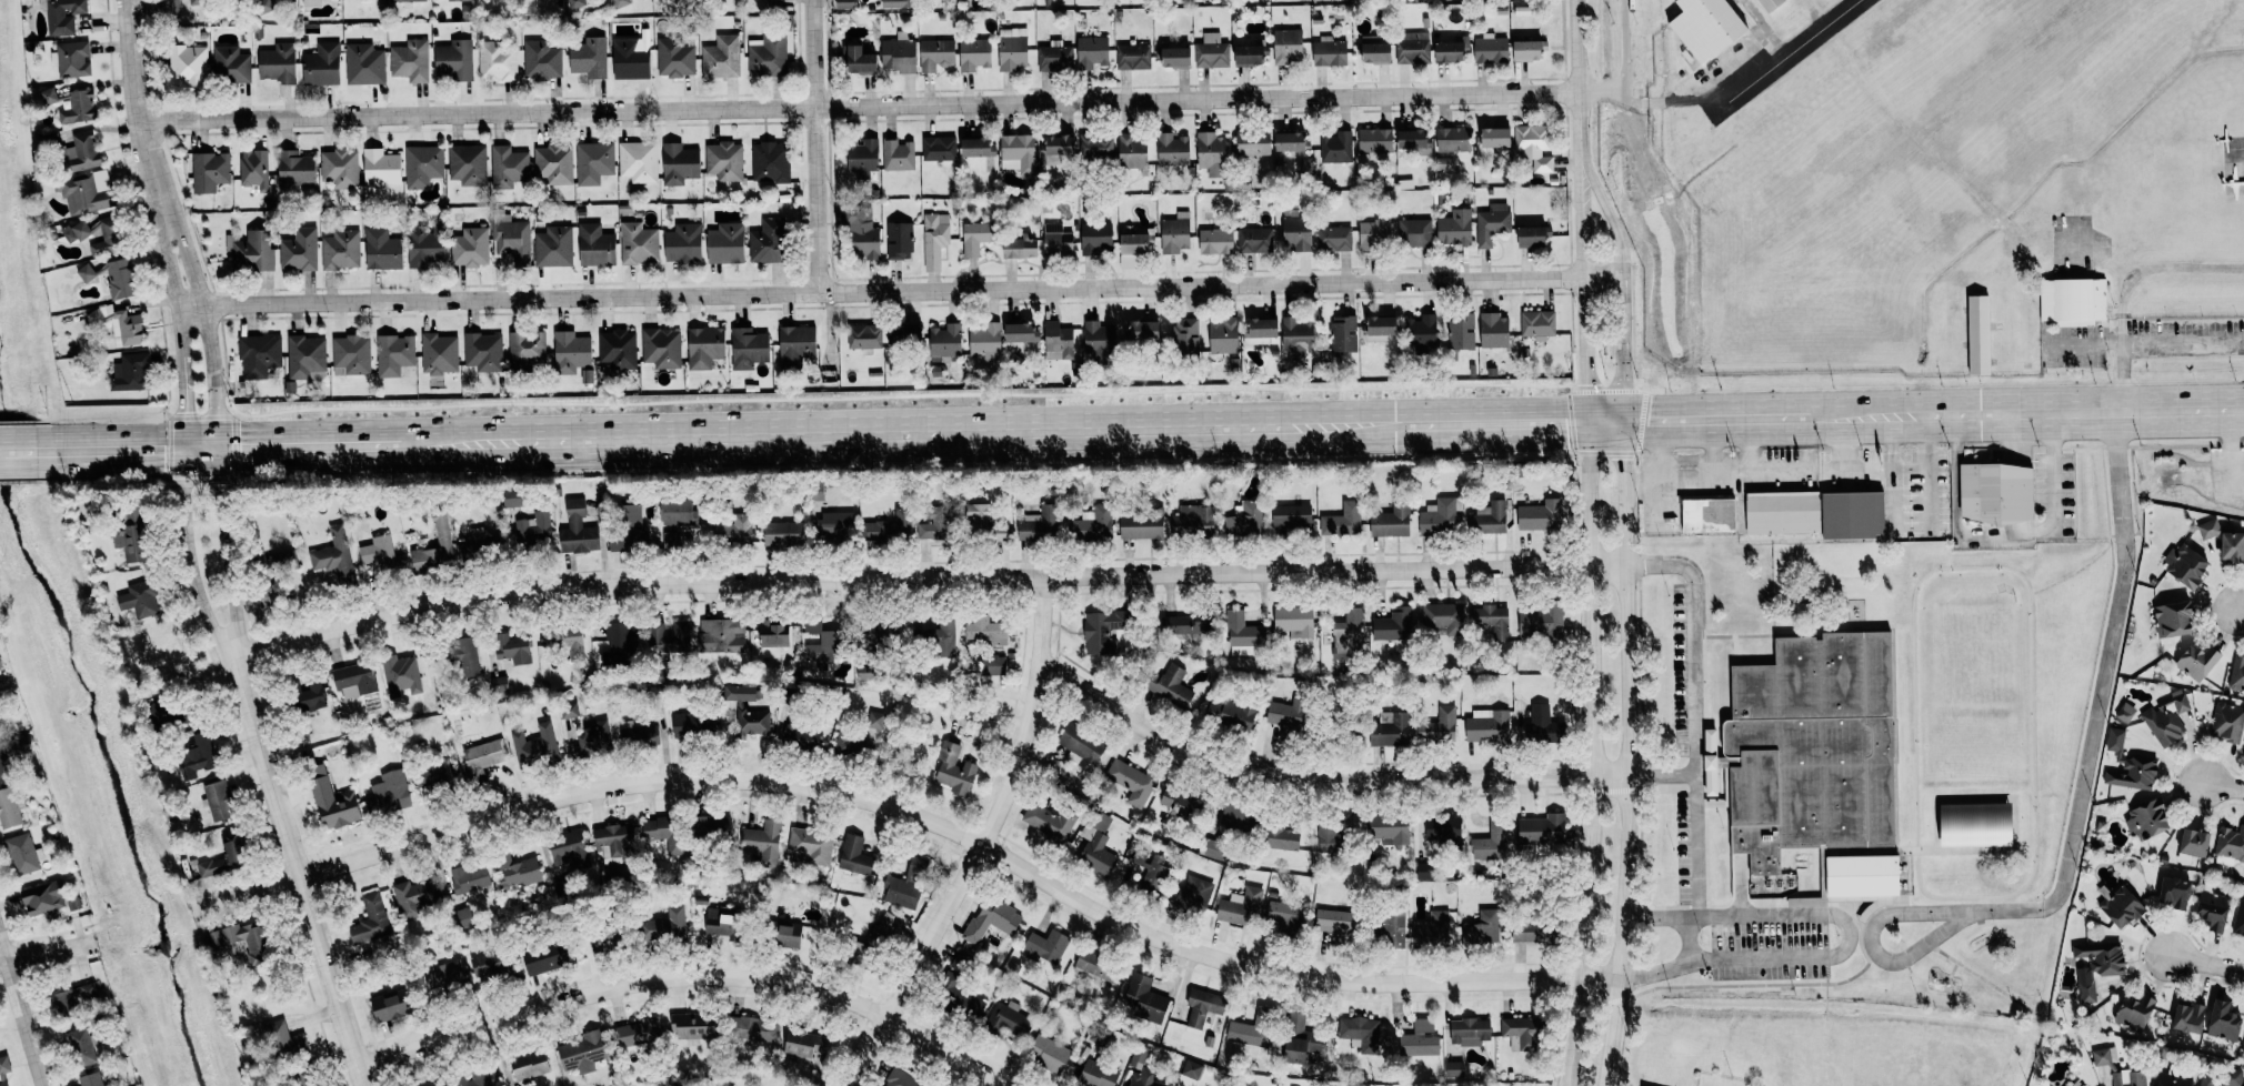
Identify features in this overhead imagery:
building: (287, 0)
building: (404, 0)
building: (458, 0)
building: (194, 1)
building: (309, 2)
building: (574, 3)
building: (619, 3)
building: (894, 3)
building: (842, 4)
building: (1773, 4)
building: (264, 6)
building: (170, 8)
building: (62, 16)
building: (1706, 28)
building: (1285, 47)
building: (1411, 48)
building: (1012, 49)
building: (1450, 49)
building: (1489, 49)
building: (1373, 50)
building: (1527, 50)
building: (1210, 51)
building: (1091, 52)
building: (1328, 52)
building: (973, 53)
building: (934, 54)
building: (1248, 54)
building: (896, 56)
building: (1054, 56)
building: (720, 57)
building: (1132, 57)
building: (1173, 57)
airport taxiway: (1781, 57)
building: (588, 58)
building: (674, 58)
building: (70, 59)
building: (629, 59)
building: (410, 60)
building: (453, 60)
building: (541, 60)
building: (858, 60)
building: (495, 61)
building: (277, 63)
building: (321, 64)
building: (363, 64)
building: (187, 66)
building: (230, 66)
road: (1625, 72)
road: (1574, 77)
road: (133, 99)
building: (77, 107)
road: (855, 107)
building: (1410, 139)
building: (1451, 139)
building: (1373, 141)
building: (1491, 141)
building: (1288, 142)
building: (1251, 143)
building: (1095, 145)
road: (814, 147)
building: (973, 147)
building: (1533, 147)
building: (1335, 148)
building: (938, 149)
building: (1058, 149)
building: (1171, 149)
building: (1131, 151)
building: (80, 152)
building: (1016, 153)
building: (1210, 153)
building: (896, 155)
building: (861, 158)
building: (723, 160)
building: (638, 161)
building: (769, 161)
building: (593, 162)
building: (552, 163)
building: (678, 163)
building: (467, 164)
airport apron: (2233, 164)
building: (422, 165)
building: (507, 167)
building: (252, 168)
building: (339, 168)
building: (293, 169)
building: (379, 169)
building: (209, 171)
airport: (1942, 185)
building: (84, 192)
road: (1580, 217)
building: (1491, 223)
building: (1454, 228)
building: (73, 230)
building: (1296, 230)
building: (858, 232)
building: (1413, 232)
building: (1174, 233)
building: (1373, 233)
building: (106, 237)
building: (1095, 237)
building: (1532, 237)
building: (976, 238)
building: (933, 239)
building: (1055, 239)
building: (1333, 239)
building: (510, 240)
building: (898, 240)
building: (1253, 240)
building: (767, 241)
building: (1214, 241)
building: (1135, 242)
building: (638, 243)
building: (682, 243)
building: (725, 244)
building: (594, 245)
building: (553, 247)
building: (1019, 247)
building: (423, 248)
building: (469, 248)
building: (380, 249)
building: (299, 250)
building: (340, 250)
building: (252, 252)
building: (111, 276)
road: (1601, 278)
road: (1621, 283)
road: (2127, 288)
road: (879, 292)
building: (2073, 300)
building: (119, 324)
building: (1537, 324)
building: (1379, 329)
building: (1493, 331)
building: (1019, 332)
building: (1141, 332)
building: (1258, 332)
building: (1419, 332)
building: (1461, 333)
building: (1342, 334)
building: (902, 335)
building: (1222, 335)
building: (862, 336)
building: (1295, 336)
building: (1981, 336)
building: (1184, 338)
building: (1098, 339)
building: (944, 340)
building: (983, 340)
building: (1056, 341)
parking lot: (2143, 341)
road: (2146, 341)
building: (795, 345)
building: (703, 346)
building: (661, 348)
building: (747, 348)
building: (617, 349)
building: (527, 350)
road: (1584, 350)
building: (569, 351)
building: (483, 352)
building: (350, 354)
building: (393, 354)
building: (438, 354)
building: (259, 355)
building: (304, 356)
building: (130, 373)
road: (2026, 414)
road: (1715, 420)
road: (218, 421)
road: (1604, 422)
traffic signals: (1622, 422)
traffic signals: (1586, 423)
road: (1496, 424)
road: (181, 430)
road: (903, 435)
road: (1837, 445)
road: (310, 446)
road: (2147, 446)
road: (1714, 448)
road: (1749, 448)
road: (202, 449)
road: (1660, 449)
road: (117, 450)
road: (2, 451)
road: (28, 451)
road: (1757, 475)
road: (1892, 475)
building: (814, 491)
road: (2133, 491)
road: (2104, 492)
building: (1995, 493)
building: (510, 501)
building: (1782, 513)
building: (1539, 515)
building: (1707, 515)
building: (1852, 515)
building: (1437, 516)
building: (1290, 517)
building: (1487, 519)
building: (673, 520)
building: (1243, 520)
building: (1342, 520)
building: (1192, 521)
building: (1390, 522)
building: (982, 523)
building: (1091, 523)
building: (1038, 524)
building: (1140, 524)
building: (831, 526)
building: (886, 529)
building: (934, 529)
building: (532, 530)
building: (577, 530)
building: (628, 530)
building: (732, 531)
building: (781, 534)
road: (2004, 535)
road: (2123, 535)
building: (129, 537)
building: (2224, 541)
building: (434, 547)
building: (471, 549)
building: (379, 554)
building: (333, 556)
building: (288, 560)
road: (2076, 571)
road: (923, 587)
building: (263, 597)
building: (138, 600)
road: (2238, 609)
building: (1441, 616)
building: (1491, 620)
building: (2172, 620)
building: (1293, 621)
building: (1539, 622)
building: (1181, 625)
building: (1392, 625)
building: (983, 632)
building: (1099, 632)
building: (772, 634)
building: (1242, 634)
building: (620, 635)
building: (721, 635)
building: (665, 636)
building: (563, 641)
road: (1692, 641)
building: (511, 648)
building: (823, 650)
building: (462, 656)
building: (2197, 662)
building: (0, 665)
building: (992, 665)
building: (2237, 674)
building: (351, 681)
building: (497, 684)
building: (1170, 685)
building: (739, 693)
building: (304, 697)
building: (572, 712)
building: (2125, 712)
building: (1230, 713)
building: (1284, 717)
building: (2166, 718)
building: (2227, 722)
building: (875, 723)
building: (752, 724)
building: (1539, 725)
building: (692, 726)
building: (1486, 726)
building: (1437, 727)
building: (1389, 730)
building: (638, 736)
building: (594, 737)
building: (800, 737)
building: (2115, 742)
building: (19, 744)
building: (533, 745)
building: (1080, 745)
road: (1627, 754)
building: (194, 755)
road: (1592, 755)
building: (1815, 757)
building: (481, 760)
building: (3, 762)
building: (953, 770)
building: (2133, 774)
road: (1661, 775)
building: (1130, 782)
road: (1318, 782)
road: (2220, 788)
building: (389, 792)
building: (217, 801)
building: (1179, 803)
building: (8, 808)
building: (1236, 817)
building: (2147, 819)
road: (912, 822)
building: (1048, 822)
road: (2075, 823)
building: (1974, 826)
building: (713, 828)
building: (1389, 829)
building: (1443, 829)
building: (1540, 829)
building: (663, 834)
building: (1325, 834)
building: (1281, 838)
building: (762, 842)
building: (2194, 842)
building: (1491, 843)
building: (612, 844)
building: (810, 845)
road: (976, 845)
road: (1695, 845)
building: (1211, 848)
building: (569, 849)
building: (1094, 849)
building: (21, 854)
building: (853, 856)
building: (222, 861)
road: (295, 869)
building: (1149, 869)
building: (513, 872)
building: (1423, 872)
road: (1919, 873)
building: (468, 878)
building: (904, 885)
building: (1192, 893)
building: (2174, 893)
building: (39, 899)
building: (405, 901)
building: (1239, 907)
building: (2121, 907)
building: (2212, 909)
building: (1283, 914)
building: (461, 919)
building: (991, 921)
building: (2238, 921)
building: (369, 922)
building: (720, 922)
building: (1334, 924)
building: (663, 928)
building: (1390, 928)
building: (1482, 928)
building: (1431, 931)
building: (1527, 931)
building: (782, 935)
road: (1687, 937)
building: (242, 942)
road: (1847, 942)
building: (1045, 946)
road: (43, 951)
building: (544, 958)
road: (2203, 964)
building: (490, 966)
building: (2096, 966)
building: (1095, 968)
road: (1953, 969)
road: (683, 975)
building: (442, 976)
road: (1984, 979)
road: (1749, 985)
road: (1825, 988)
building: (1143, 998)
building: (73, 999)
building: (387, 1005)
building: (961, 1005)
building: (1202, 1007)
building: (2131, 1014)
building: (2188, 1017)
building: (1006, 1022)
building: (2223, 1022)
road: (19, 1025)
building: (691, 1026)
building: (751, 1028)
building: (637, 1033)
building: (1251, 1034)
building: (1520, 1034)
building: (1363, 1035)
building: (1419, 1039)
building: (281, 1040)
building: (1301, 1040)
building: (805, 1043)
building: (80, 1049)
building: (2243, 1049)
building: (582, 1050)
building: (1049, 1054)
building: (2103, 1057)
building: (4, 1064)
building: (527, 1067)
building: (1192, 1069)
building: (1453, 1069)
building: (1142, 1070)
building: (1098, 1074)
building: (473, 1077)
building: (2232, 1077)
building: (2128, 1078)
building: (901, 1079)
building: (90, 1080)
building: (2172, 1080)
building: (2205, 1080)
building: (3, 1084)
building: (434, 1084)
building: (2066, 1085)

